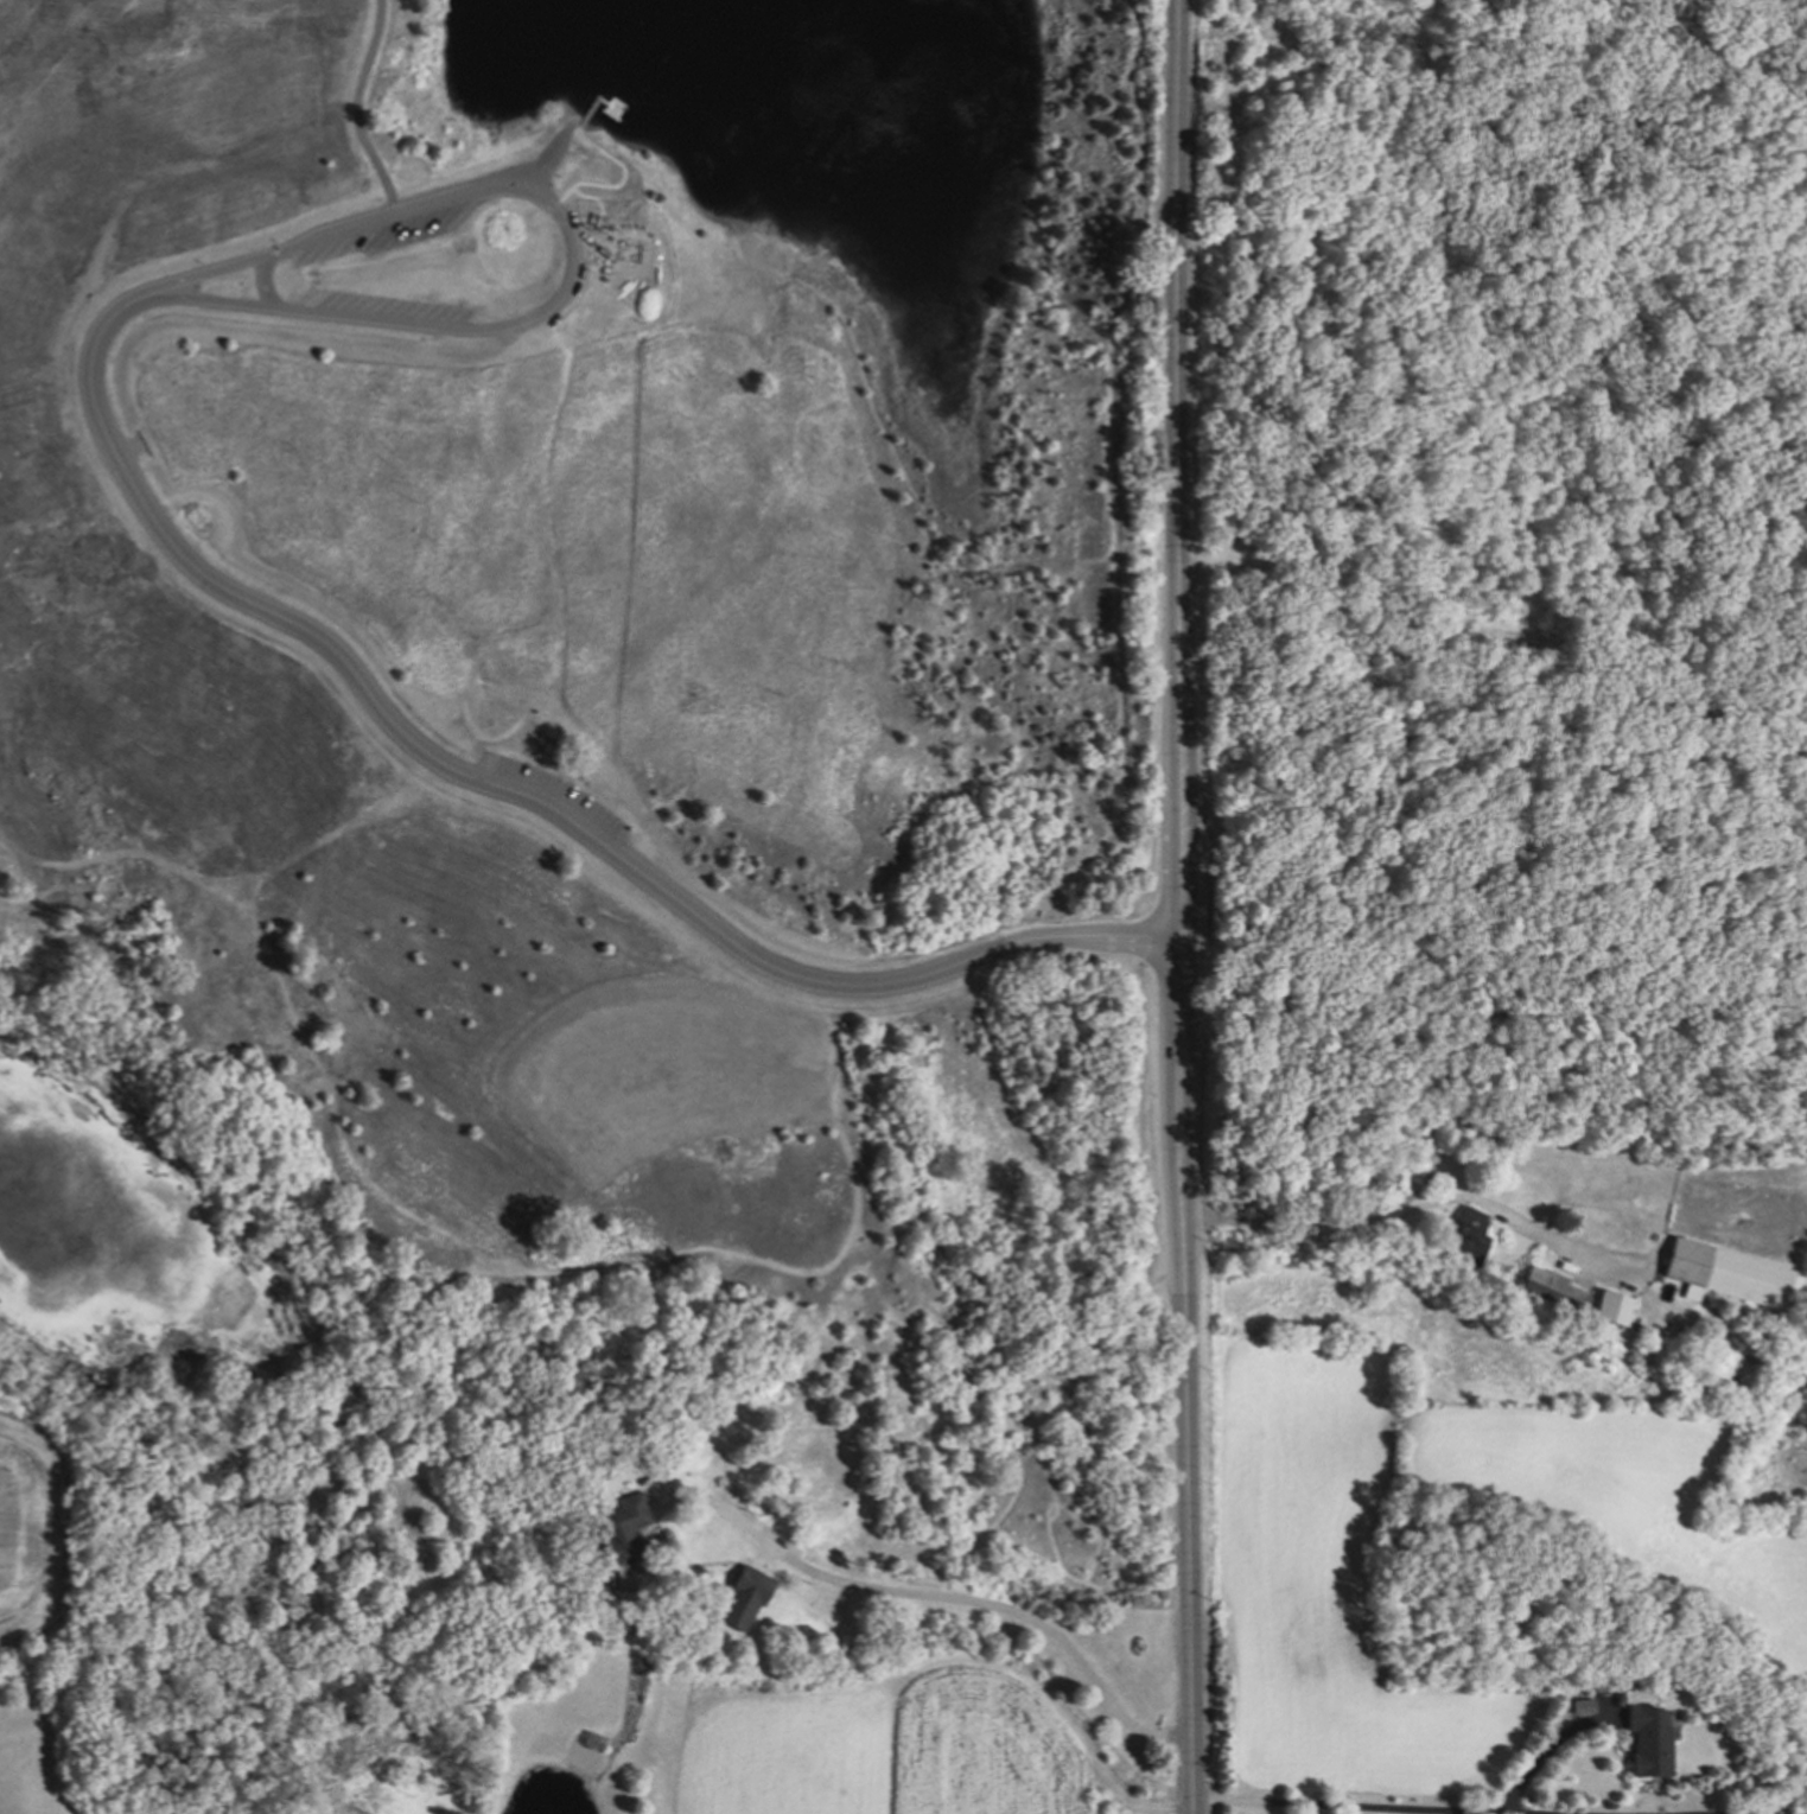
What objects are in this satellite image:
road: (356, 104)
road: (553, 135)
road: (581, 214)
parking lot: (389, 217)
road: (260, 280)
parking lot: (397, 288)
road: (47, 367)
road: (547, 459)
parking lot: (1237, 549)
road: (1214, 553)
road: (1112, 571)
road: (1527, 650)
park: (545, 750)
road: (514, 787)
parking lot: (545, 790)
road: (236, 877)
road: (1175, 906)
road: (1410, 1208)
building: (1466, 1241)
building: (1724, 1277)
road: (483, 1280)
building: (1552, 1287)
building: (1610, 1306)
building: (625, 1526)
building: (744, 1593)
road: (942, 1596)
building: (592, 1736)
park: (144, 1740)
building: (1647, 1740)
road: (1552, 1752)
road: (1369, 1806)

